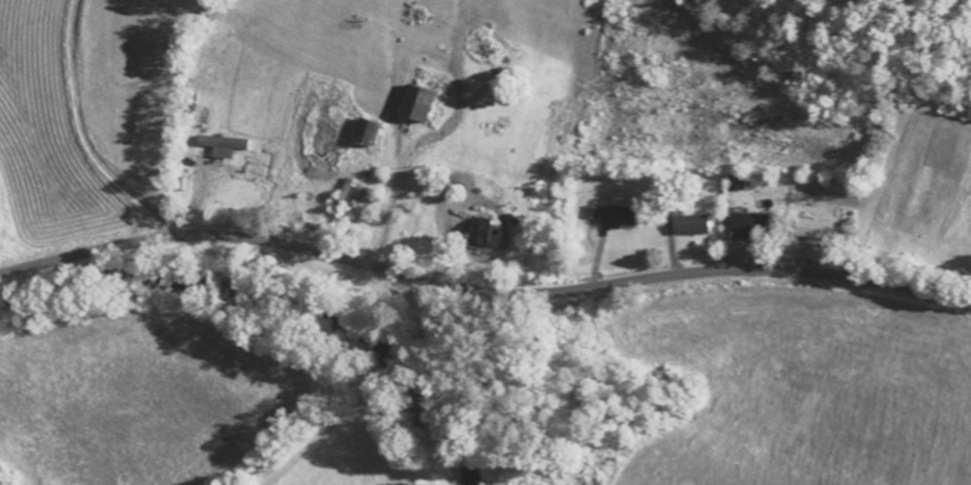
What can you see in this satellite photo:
building: (420, 104)
building: (223, 146)
building: (738, 182)
building: (348, 193)
building: (692, 225)
building: (752, 225)
building: (815, 230)
road: (172, 231)
building: (484, 233)
road: (482, 291)
road: (371, 386)

